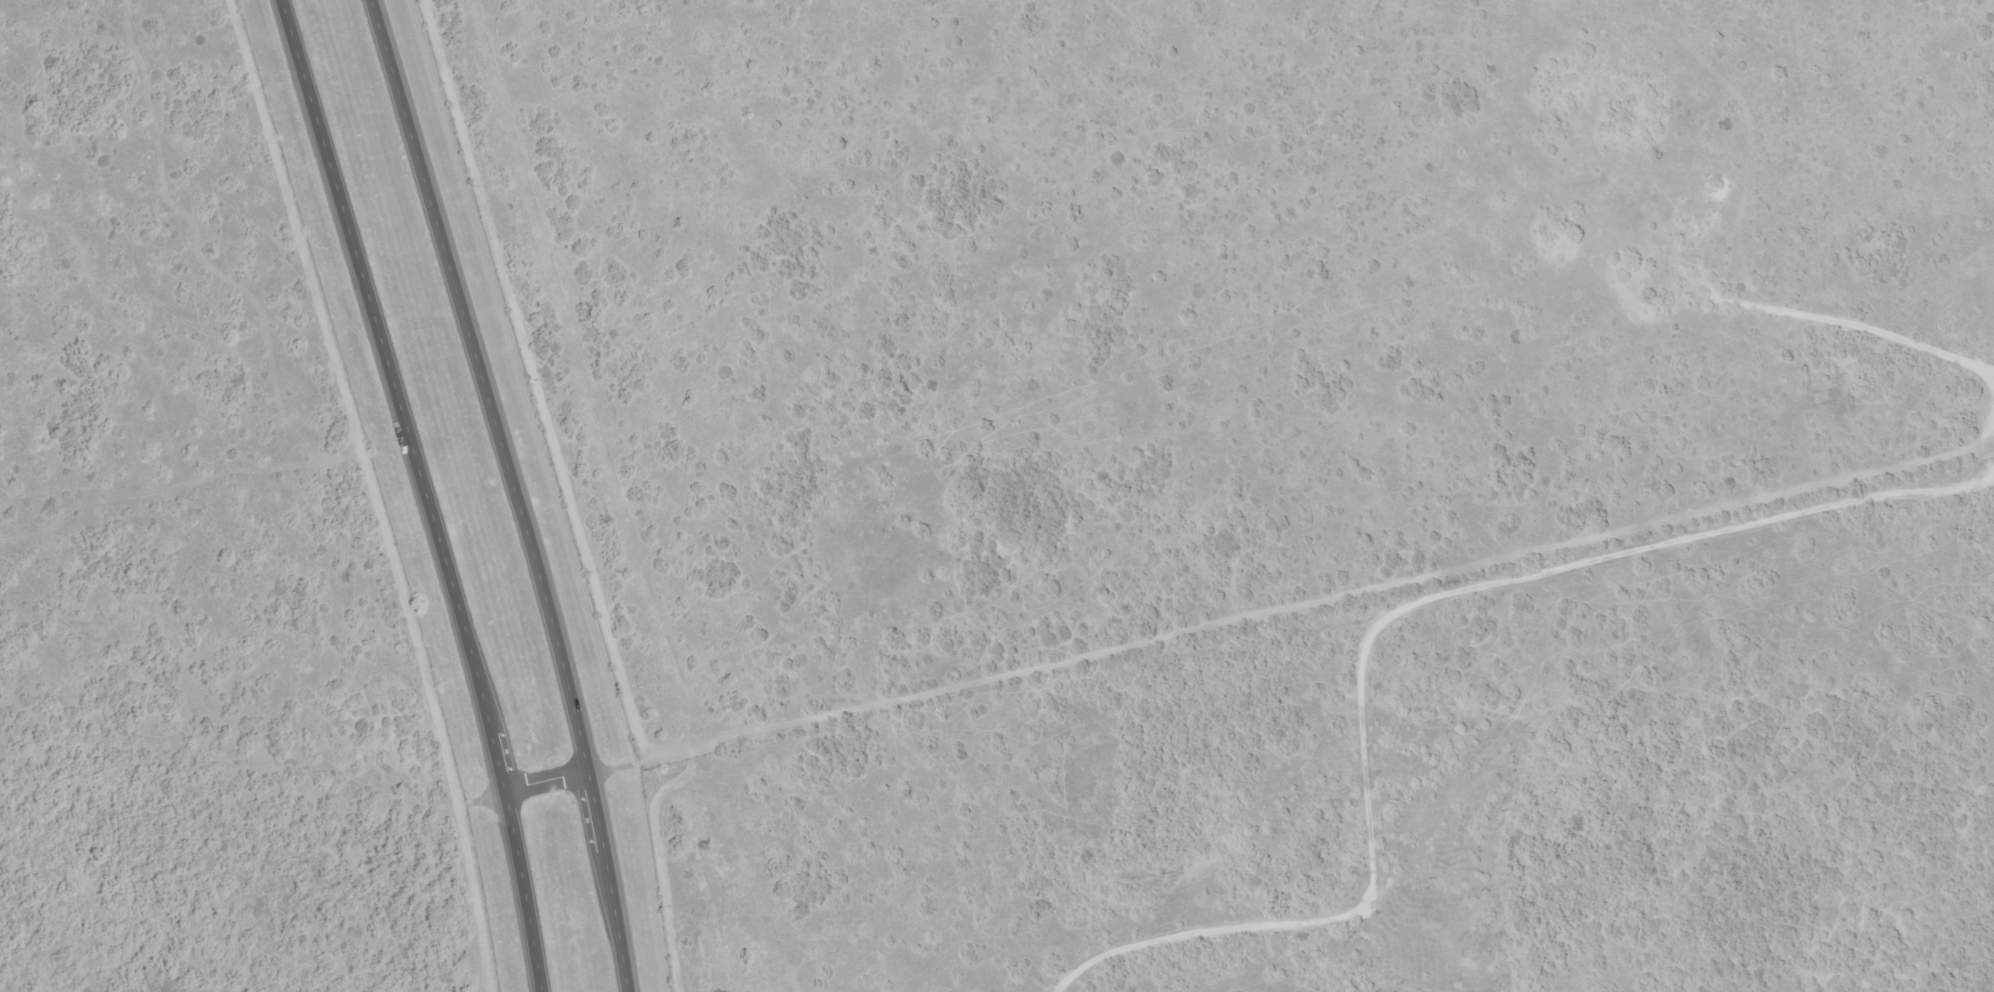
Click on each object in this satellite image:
road: (428, 492)
road: (521, 492)
road: (1522, 619)
road: (554, 784)
road: (1188, 892)

